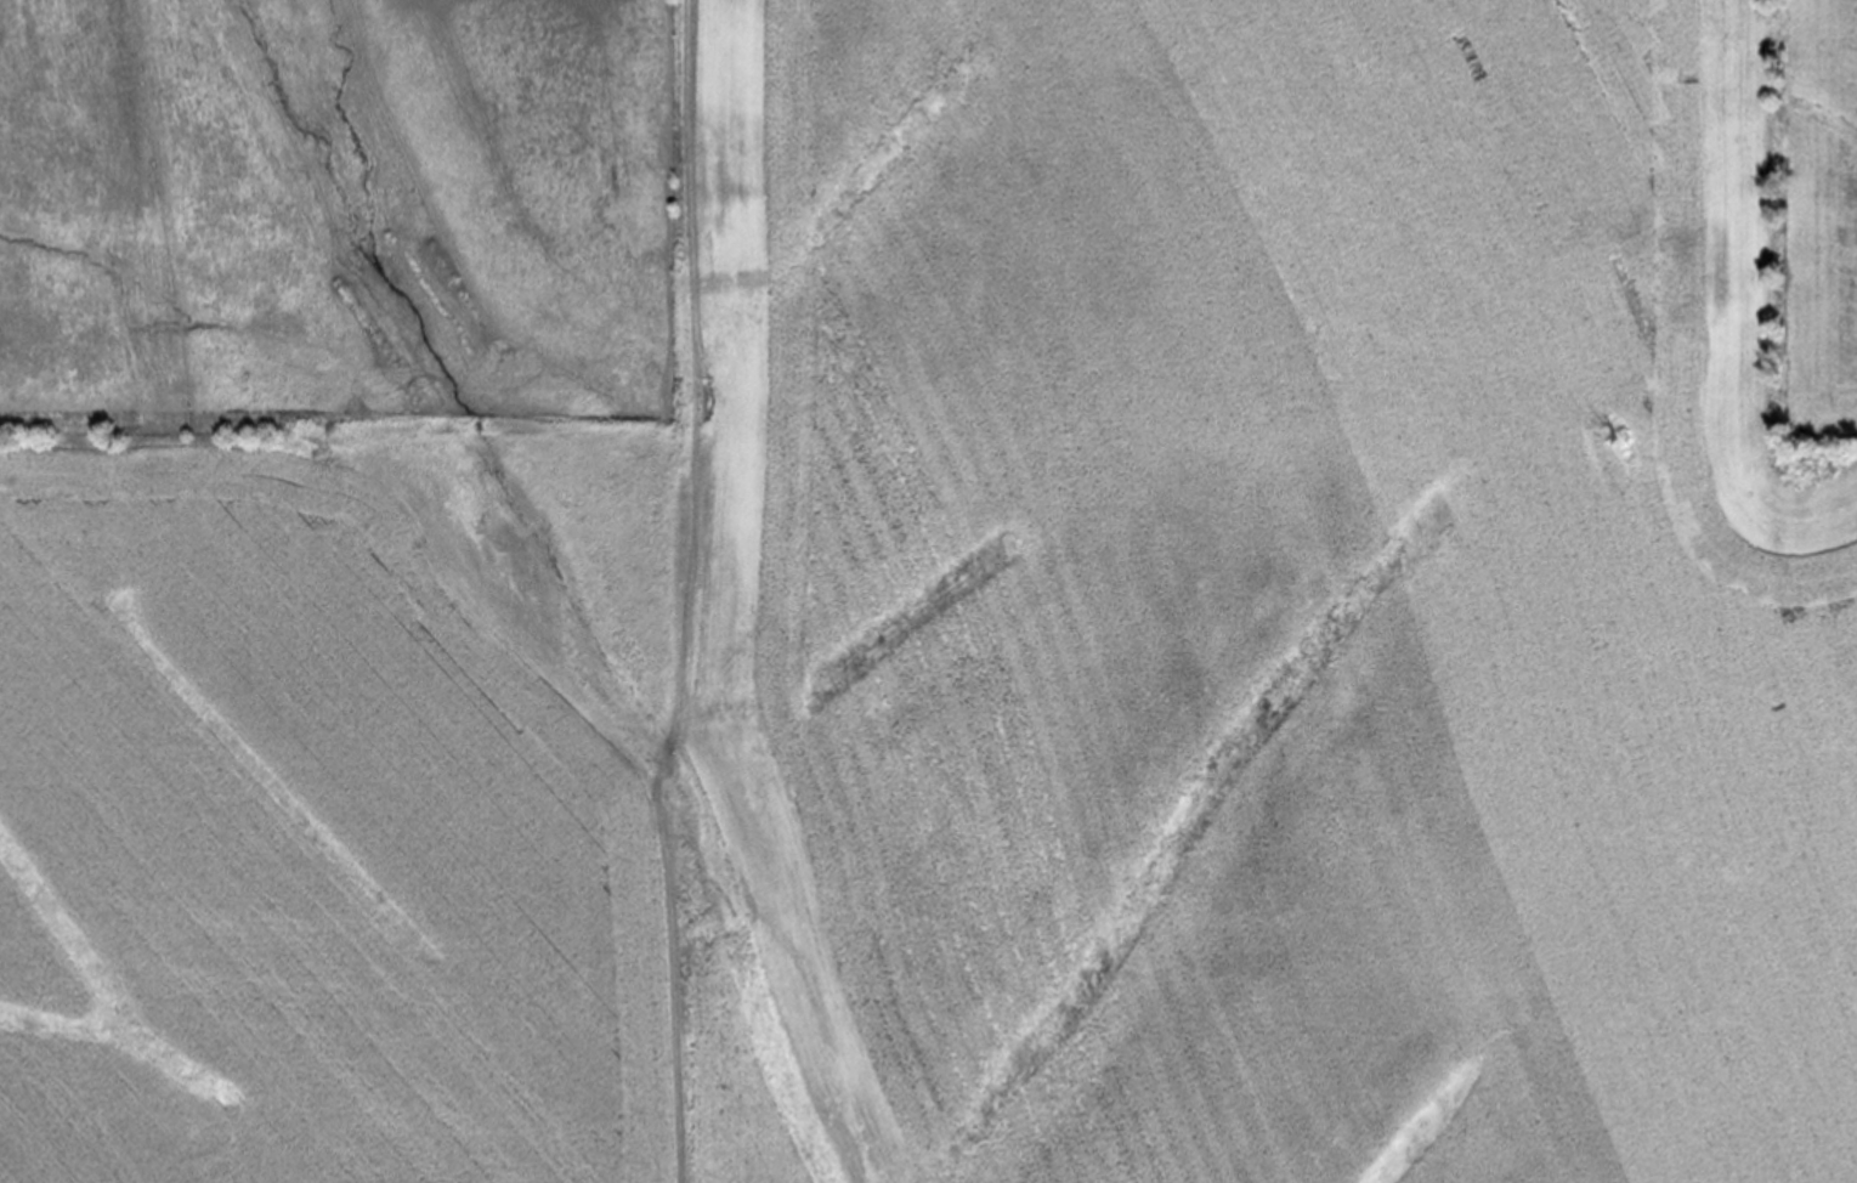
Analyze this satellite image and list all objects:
road: (690, 591)

